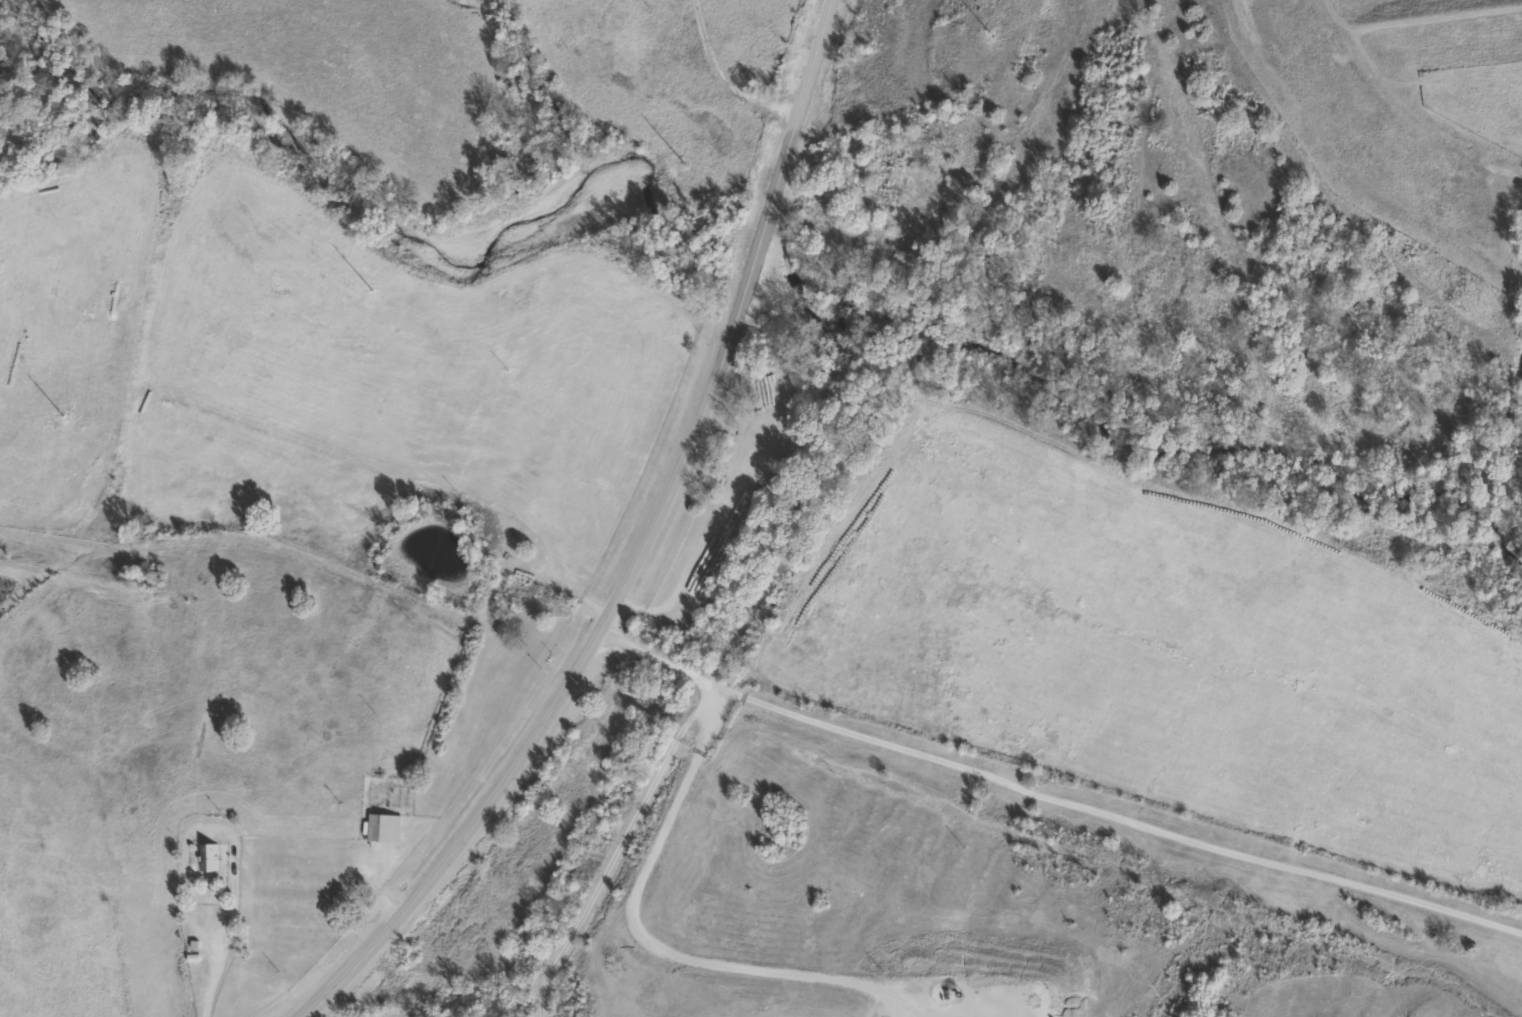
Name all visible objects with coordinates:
power tower: (991, 36)
power tower: (680, 162)
power tower: (369, 286)
power tower: (60, 415)
road: (639, 548)
building: (498, 624)
building: (378, 828)
building: (204, 857)
road: (652, 903)

